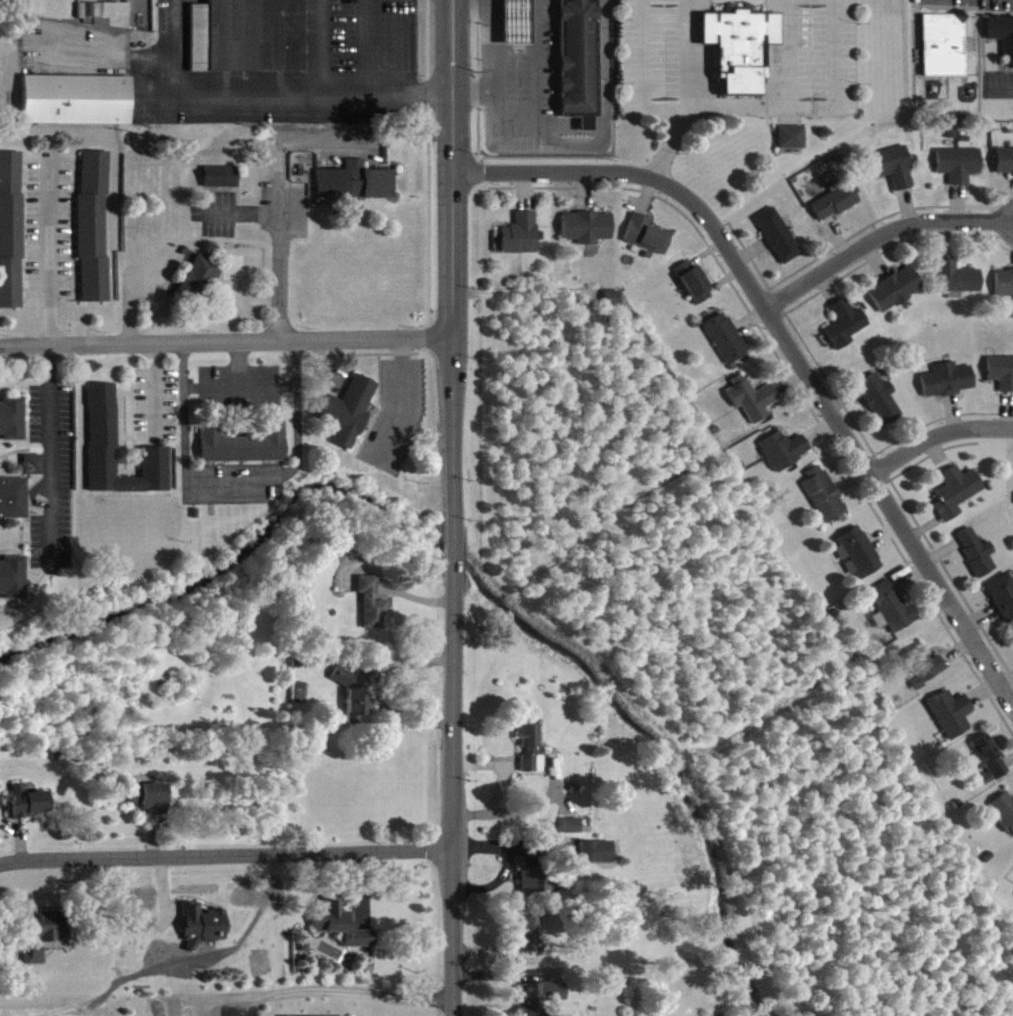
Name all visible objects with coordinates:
road: (475, 11)
building: (105, 23)
building: (518, 27)
building: (249, 41)
building: (1004, 43)
road: (649, 50)
building: (946, 53)
building: (744, 57)
building: (581, 68)
road: (341, 89)
building: (77, 108)
road: (840, 109)
road: (541, 124)
building: (794, 145)
road: (672, 153)
building: (1004, 170)
building: (960, 172)
building: (894, 175)
road: (640, 178)
building: (221, 185)
building: (355, 190)
building: (837, 210)
building: (96, 235)
building: (587, 235)
road: (881, 235)
building: (13, 238)
building: (521, 242)
building: (647, 243)
building: (779, 244)
road: (276, 257)
road: (53, 259)
road: (452, 268)
building: (200, 286)
building: (958, 287)
building: (694, 290)
building: (1005, 292)
building: (896, 297)
building: (614, 306)
building: (845, 332)
road: (225, 340)
building: (727, 348)
building: (1001, 380)
building: (948, 388)
road: (158, 391)
building: (880, 407)
building: (753, 408)
building: (347, 419)
building: (103, 423)
building: (12, 425)
road: (938, 434)
building: (243, 453)
road: (53, 455)
building: (783, 458)
building: (33, 473)
building: (956, 500)
building: (823, 503)
road: (892, 505)
building: (13, 506)
road: (450, 556)
building: (977, 560)
building: (857, 561)
building: (12, 584)
building: (1003, 605)
building: (373, 611)
building: (891, 614)
building: (879, 629)
building: (925, 674)
building: (357, 700)
building: (951, 722)
building: (532, 756)
building: (989, 766)
road: (450, 796)
building: (151, 806)
building: (26, 811)
building: (1004, 819)
building: (573, 834)
road: (242, 855)
building: (598, 861)
road: (17, 866)
building: (538, 889)
building: (338, 922)
building: (204, 929)
road: (437, 937)
building: (532, 943)
building: (42, 945)
road: (336, 991)
building: (540, 1002)
parking lot: (236, 1010)
building: (302, 1015)

